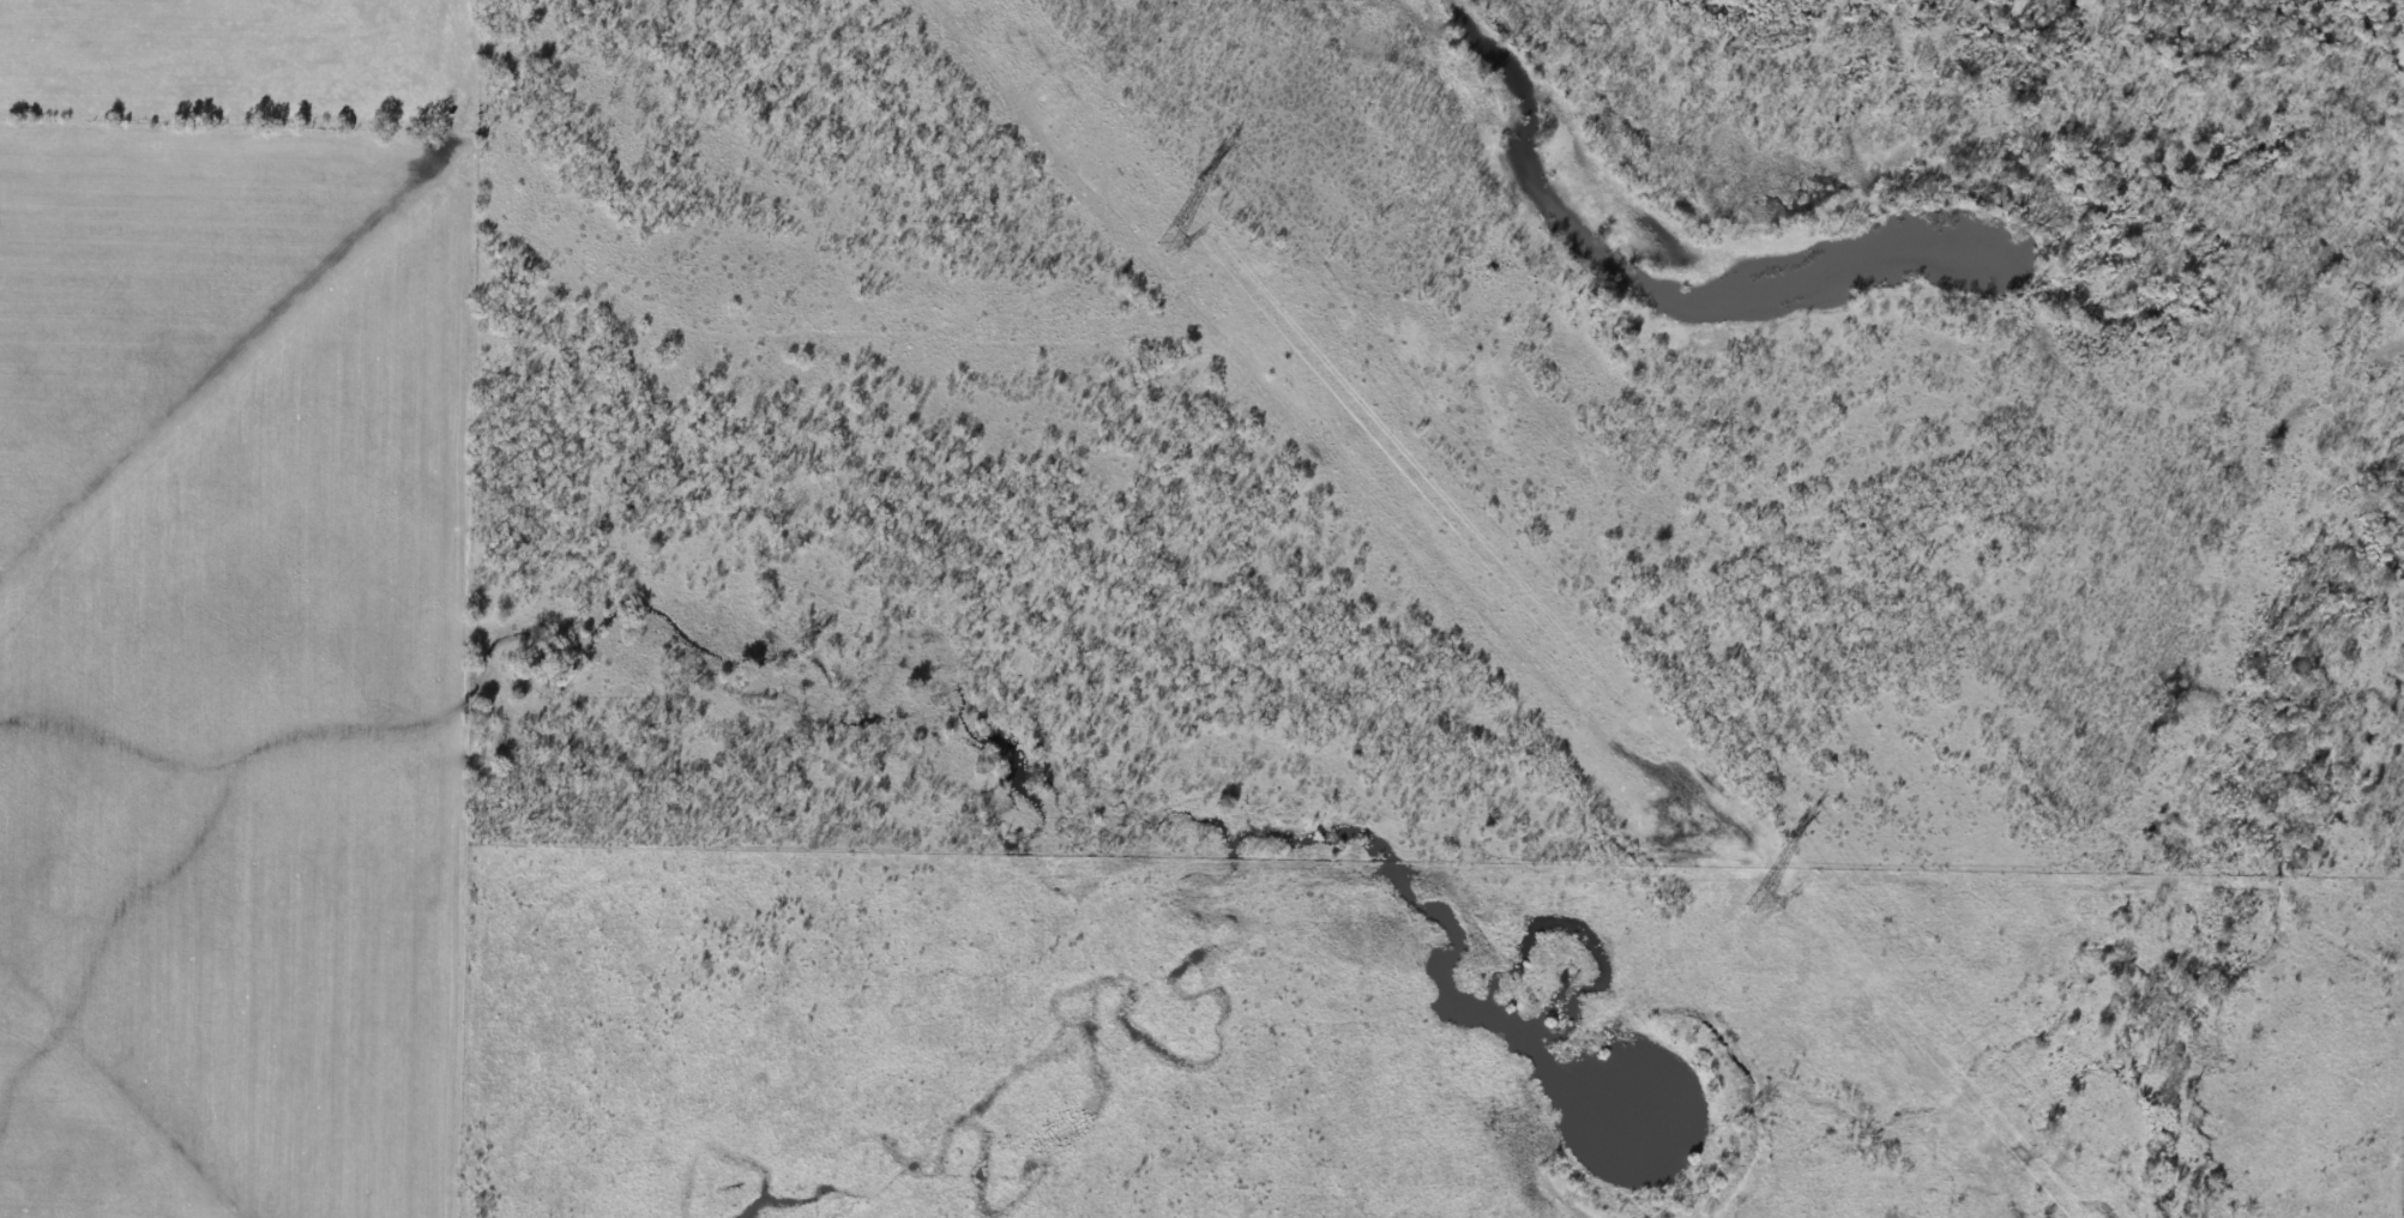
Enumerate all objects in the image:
power tower: (1170, 240)
power tower: (1759, 904)

